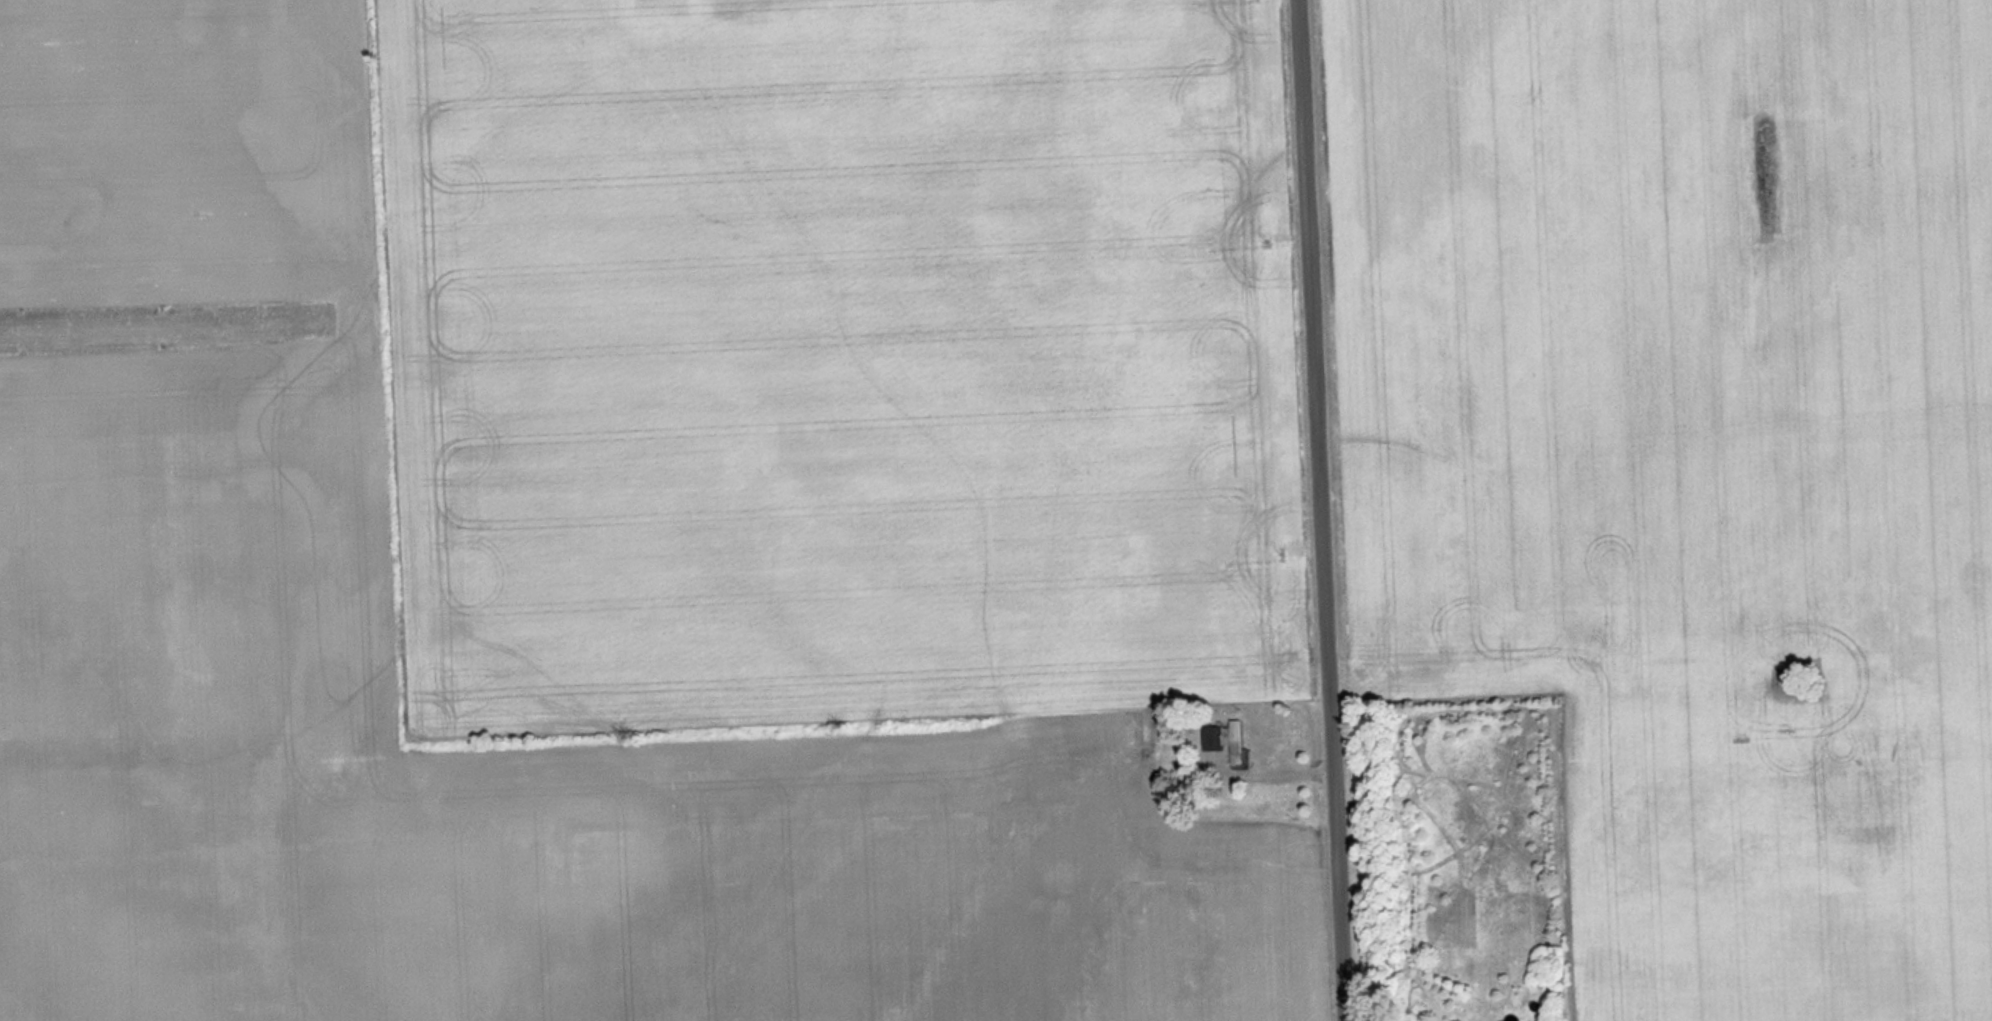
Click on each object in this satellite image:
airport runway: (162, 327)
road: (1320, 510)
building: (1227, 740)

